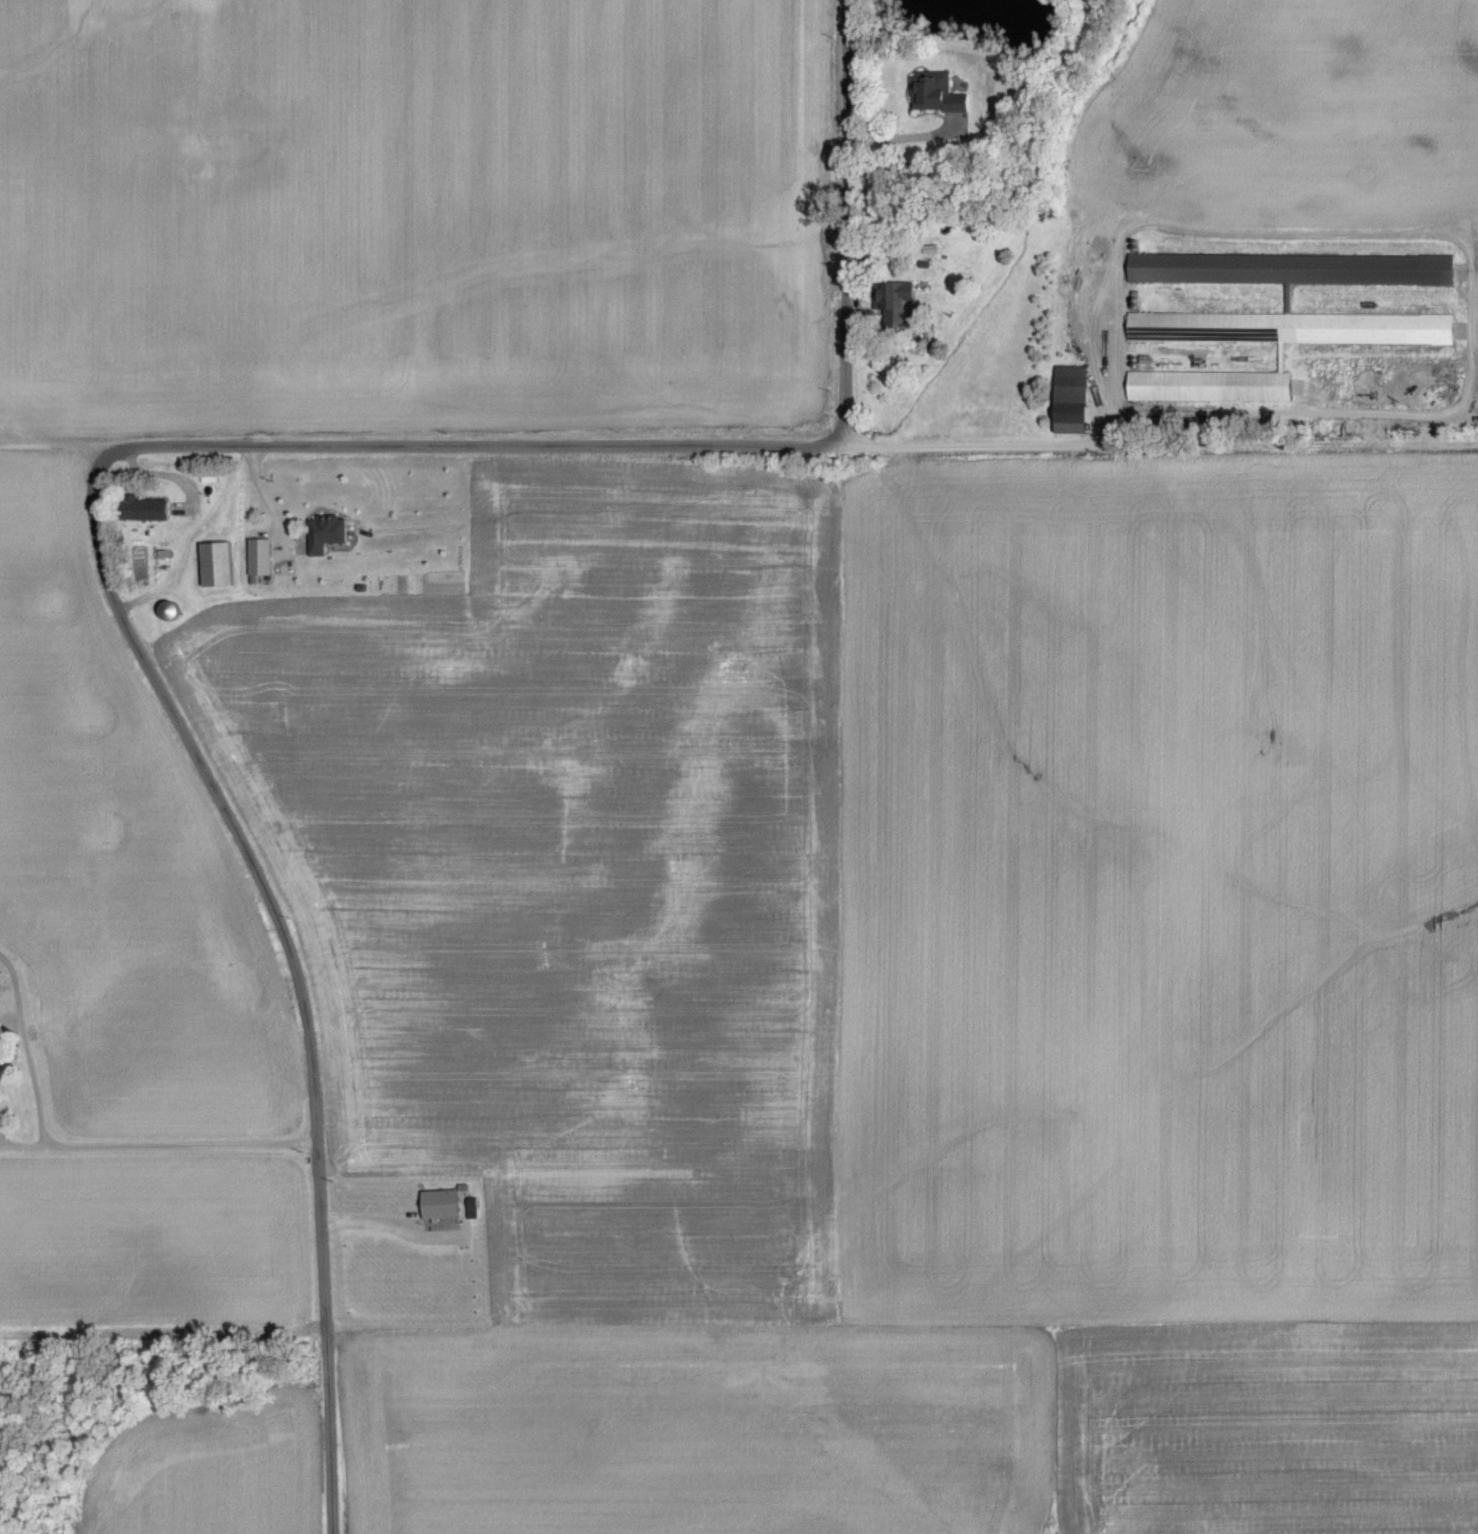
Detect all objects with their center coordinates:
building: (933, 94)
road: (916, 137)
road: (841, 223)
building: (893, 297)
building: (1290, 300)
building: (1267, 302)
building: (1207, 388)
road: (51, 442)
road: (467, 445)
road: (1148, 447)
road: (1469, 447)
road: (161, 478)
building: (149, 511)
building: (221, 565)
building: (173, 612)
road: (293, 970)
road: (24, 1053)
road: (156, 1146)
road: (385, 1226)

